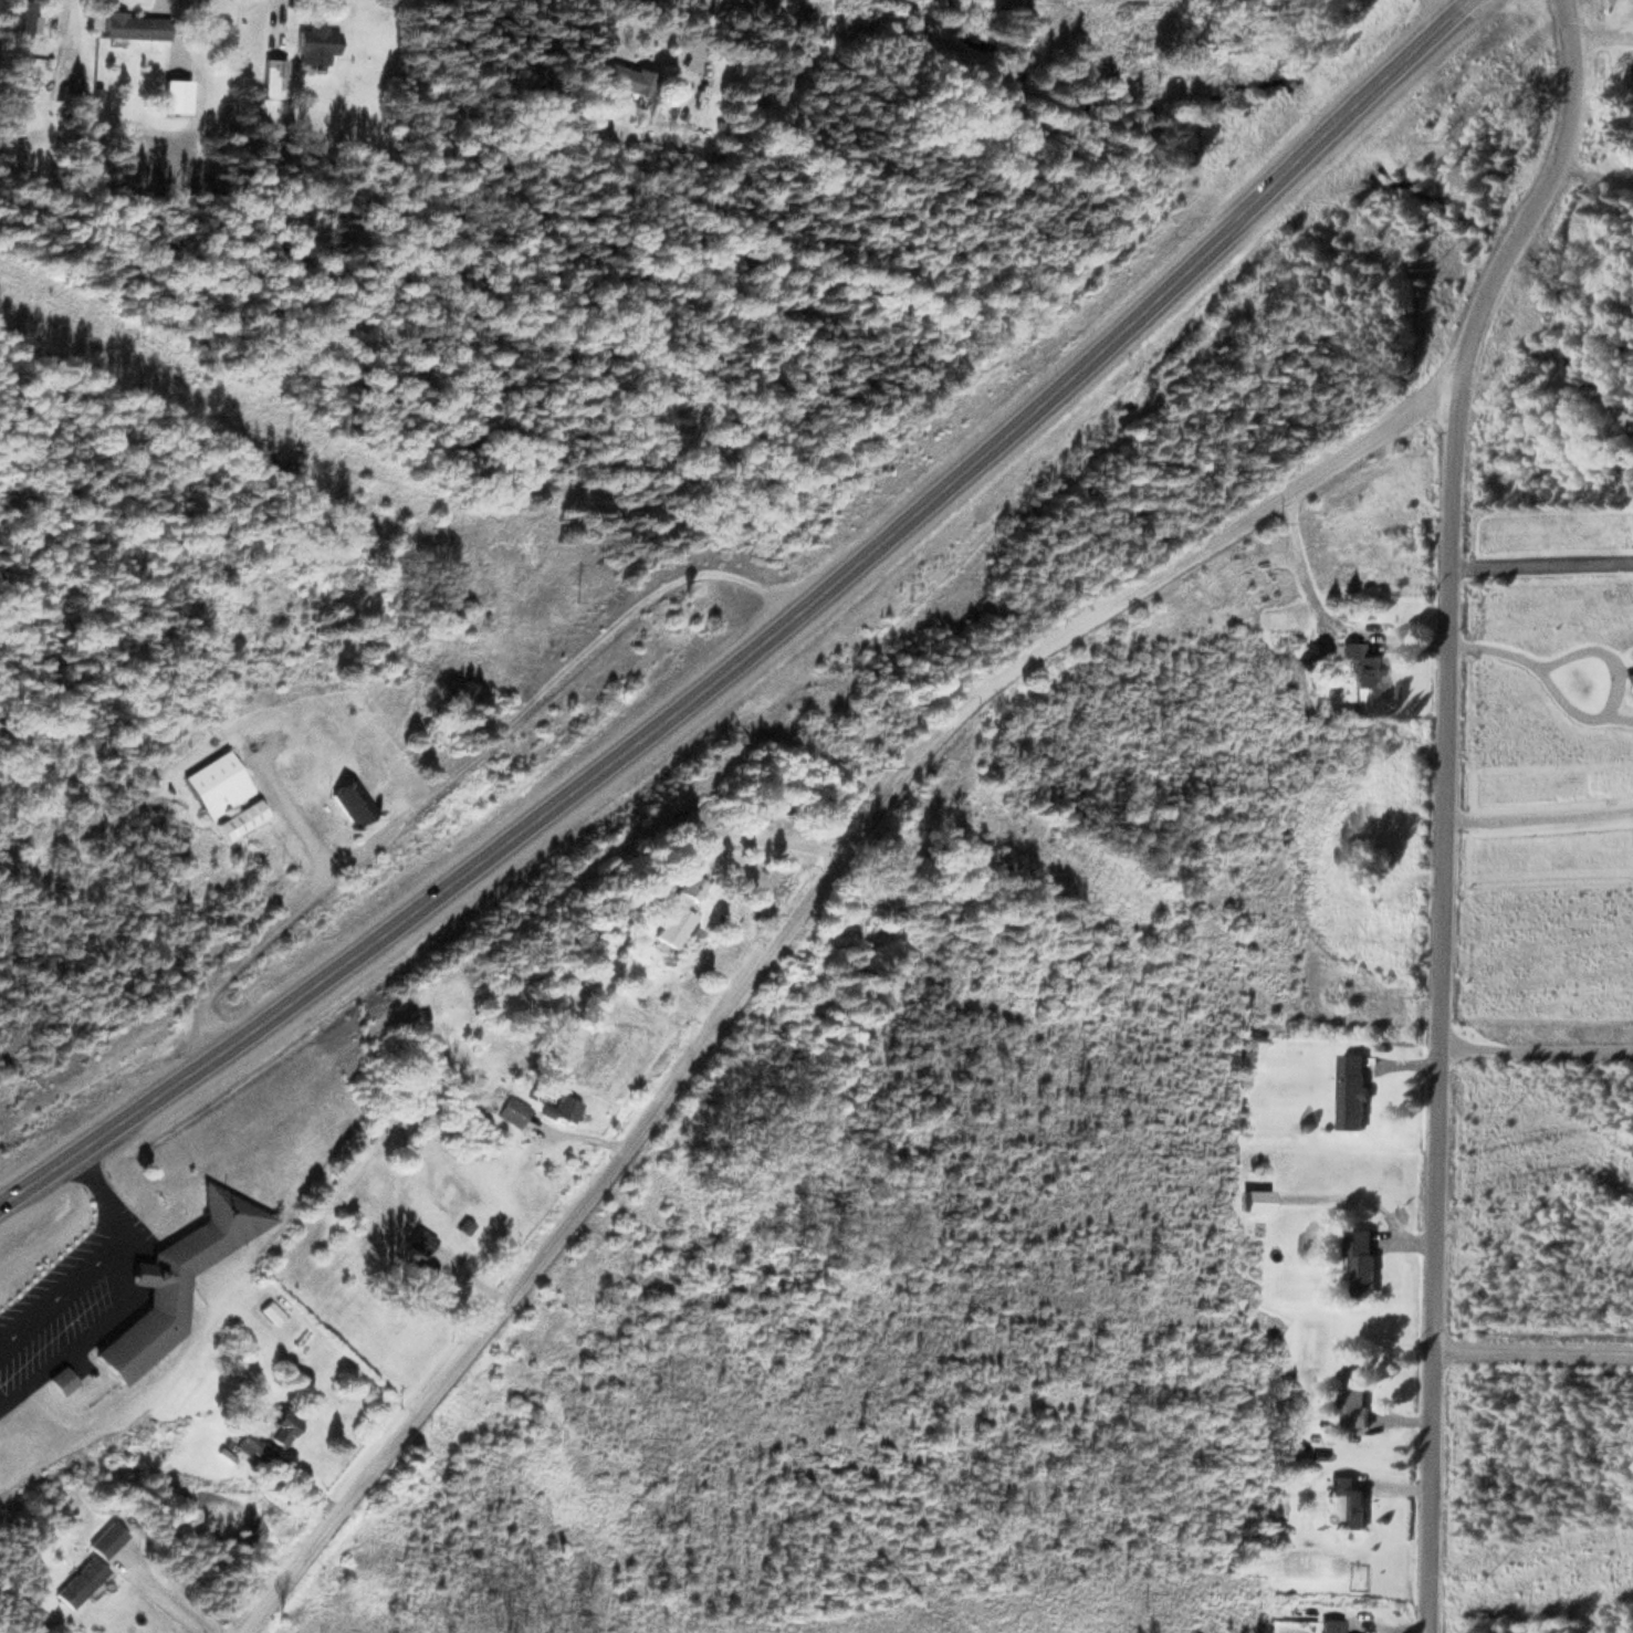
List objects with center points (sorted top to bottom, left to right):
road: (1443, 7)
building: (133, 23)
building: (19, 33)
building: (312, 42)
building: (270, 75)
building: (622, 76)
road: (763, 642)
building: (1354, 660)
road: (459, 761)
building: (213, 779)
building: (349, 799)
road: (1445, 803)
road: (283, 807)
building: (237, 815)
building: (673, 910)
road: (776, 931)
road: (1537, 1049)
building: (1351, 1089)
building: (559, 1108)
building: (510, 1109)
road: (100, 1193)
building: (1253, 1198)
building: (418, 1241)
building: (1362, 1258)
road: (137, 1264)
building: (172, 1277)
road: (60, 1281)
building: (423, 1287)
parking lot: (52, 1304)
road: (88, 1328)
road: (1536, 1358)
building: (57, 1376)
building: (1357, 1389)
building: (276, 1427)
building: (1348, 1499)
building: (103, 1537)
building: (77, 1579)
building: (1328, 1625)

